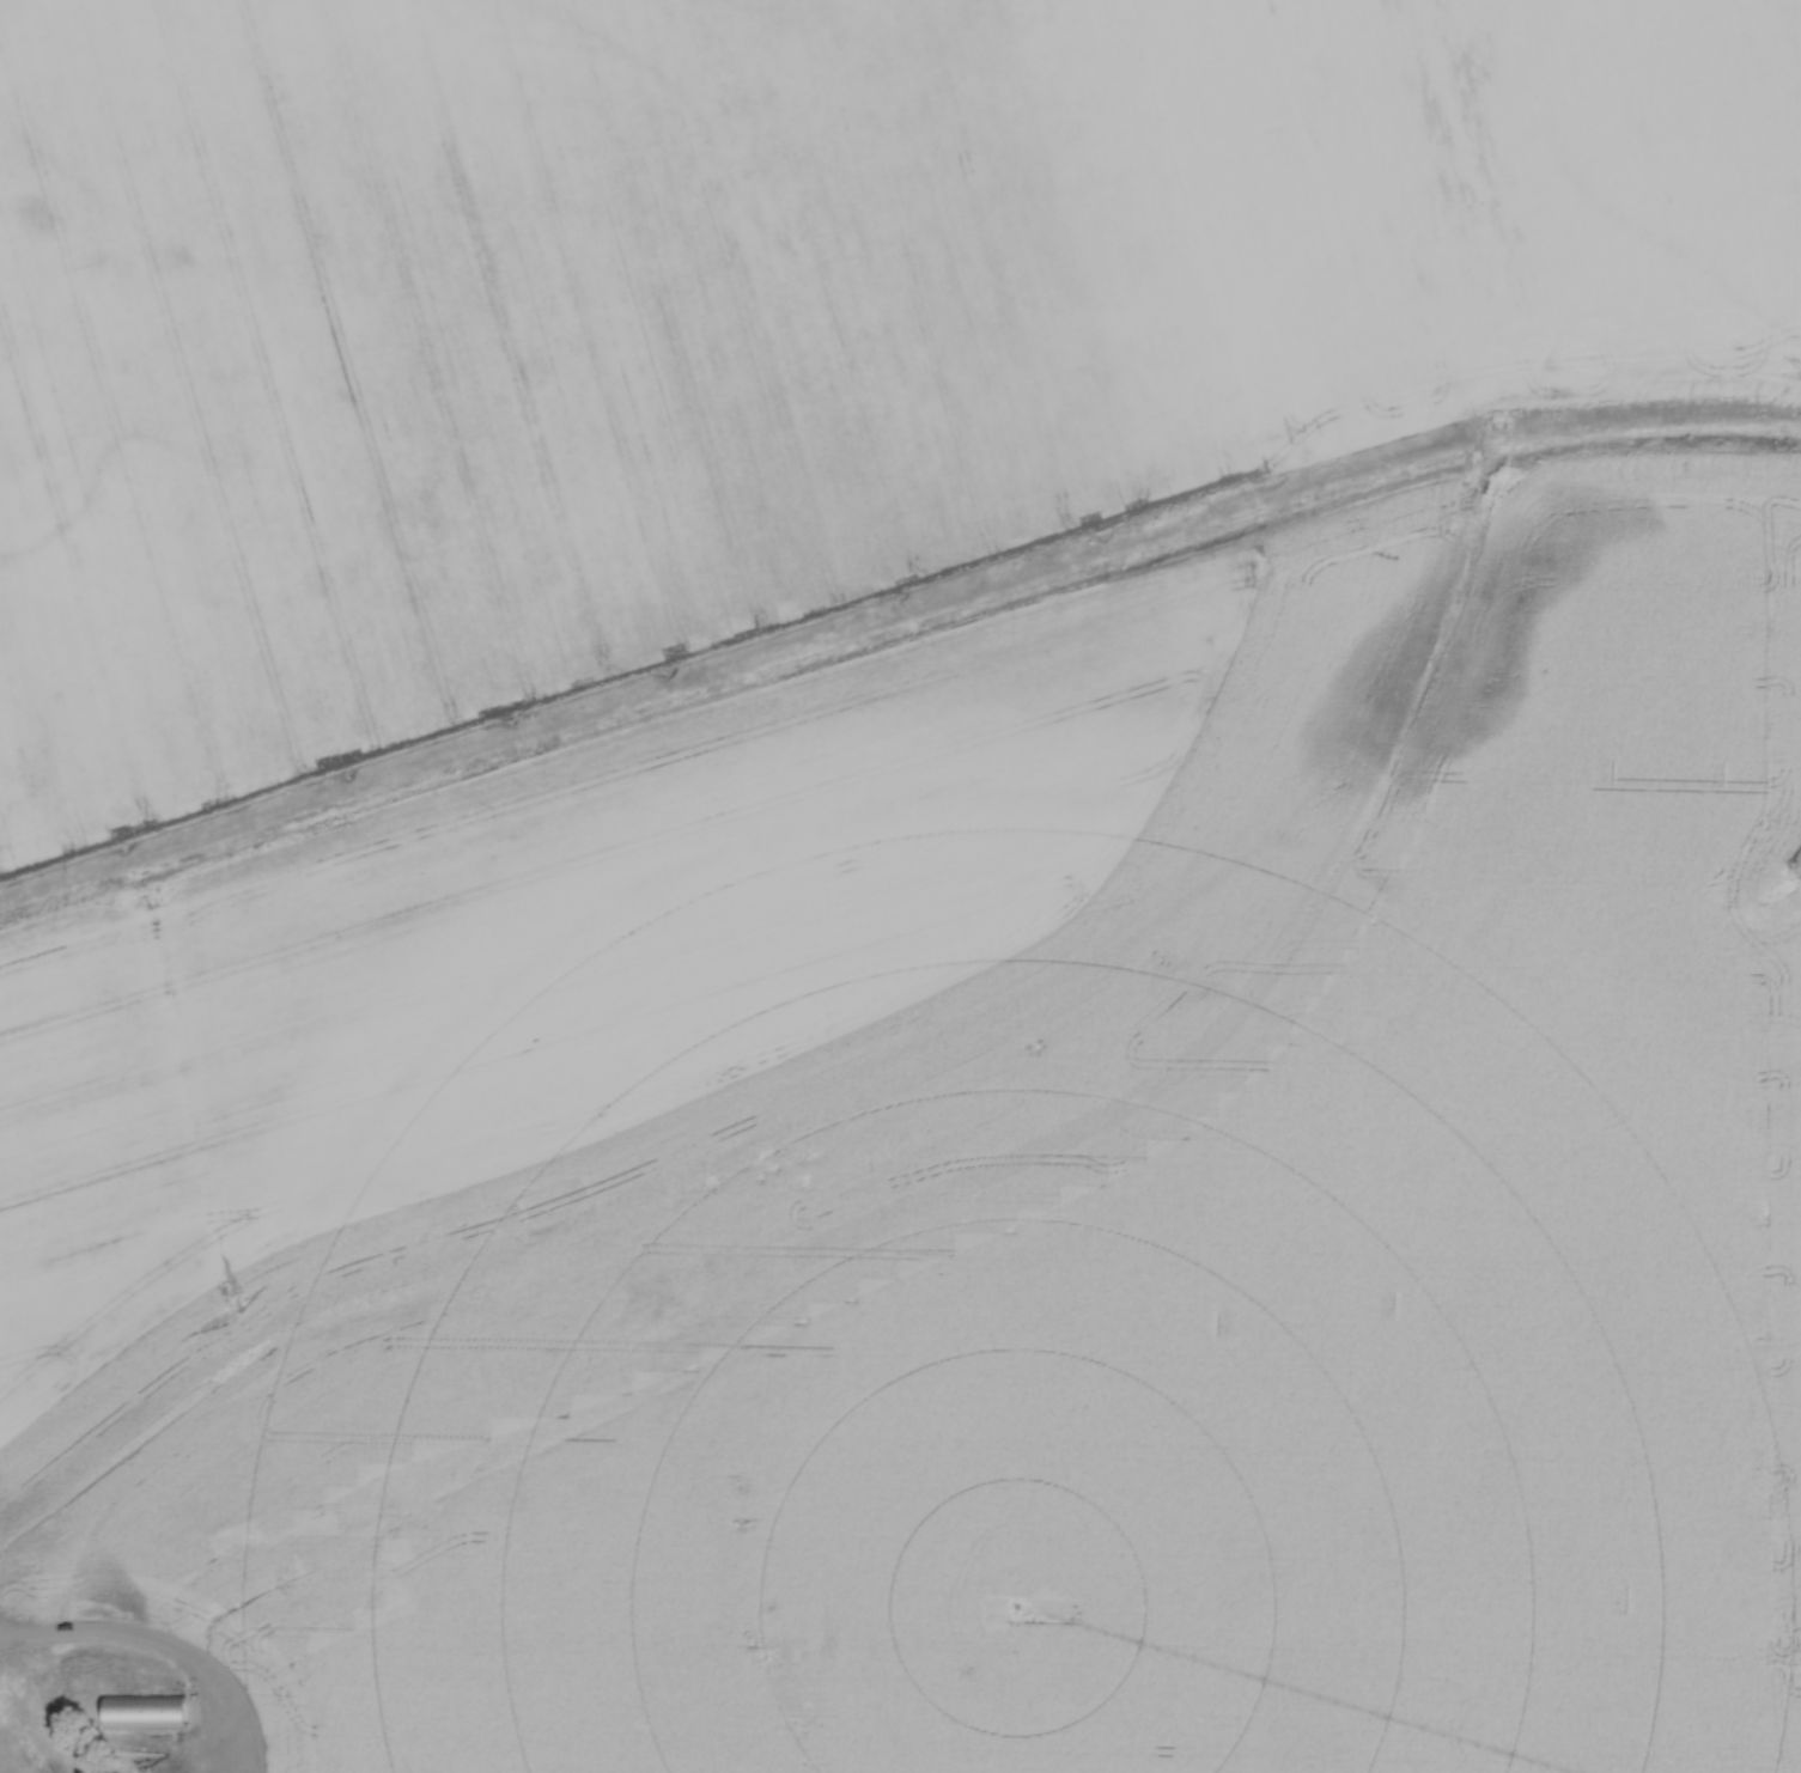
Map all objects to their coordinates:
road: (158, 1649)
building: (146, 1711)

